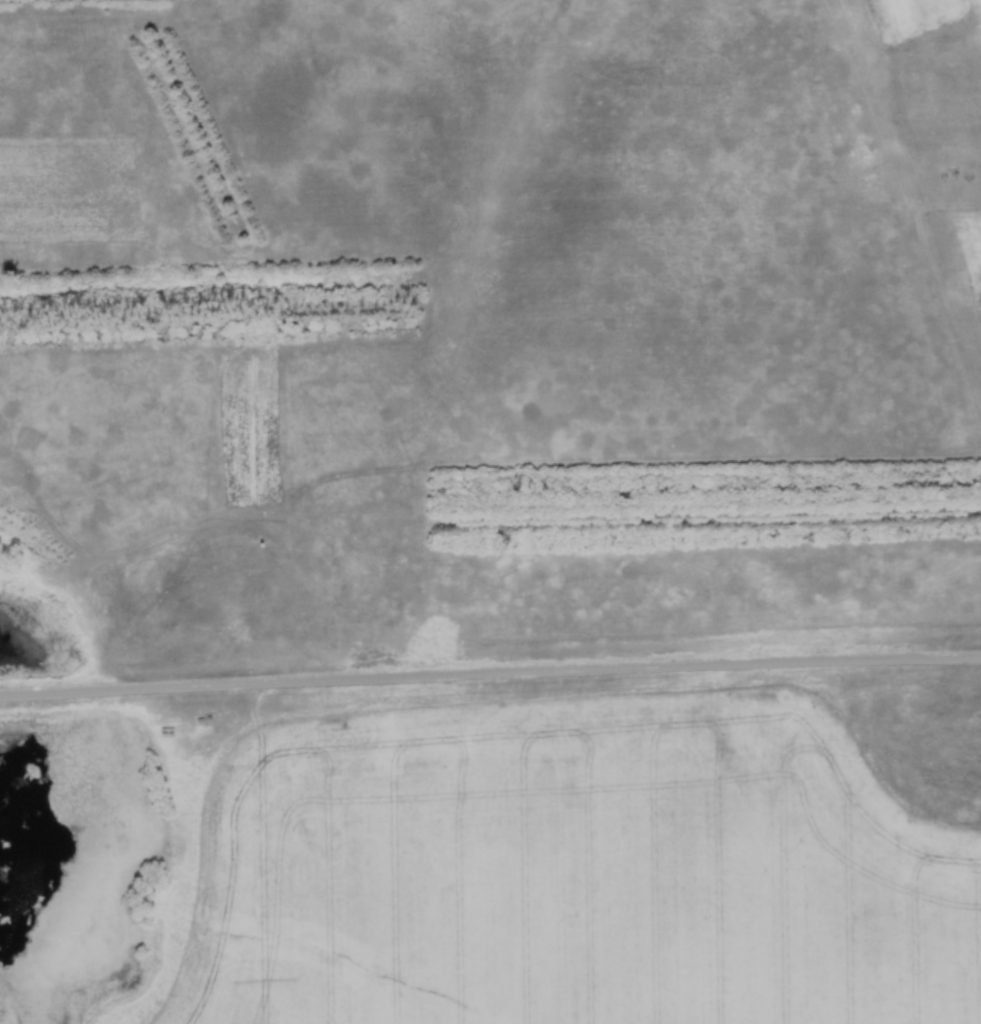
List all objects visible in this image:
road: (490, 677)

